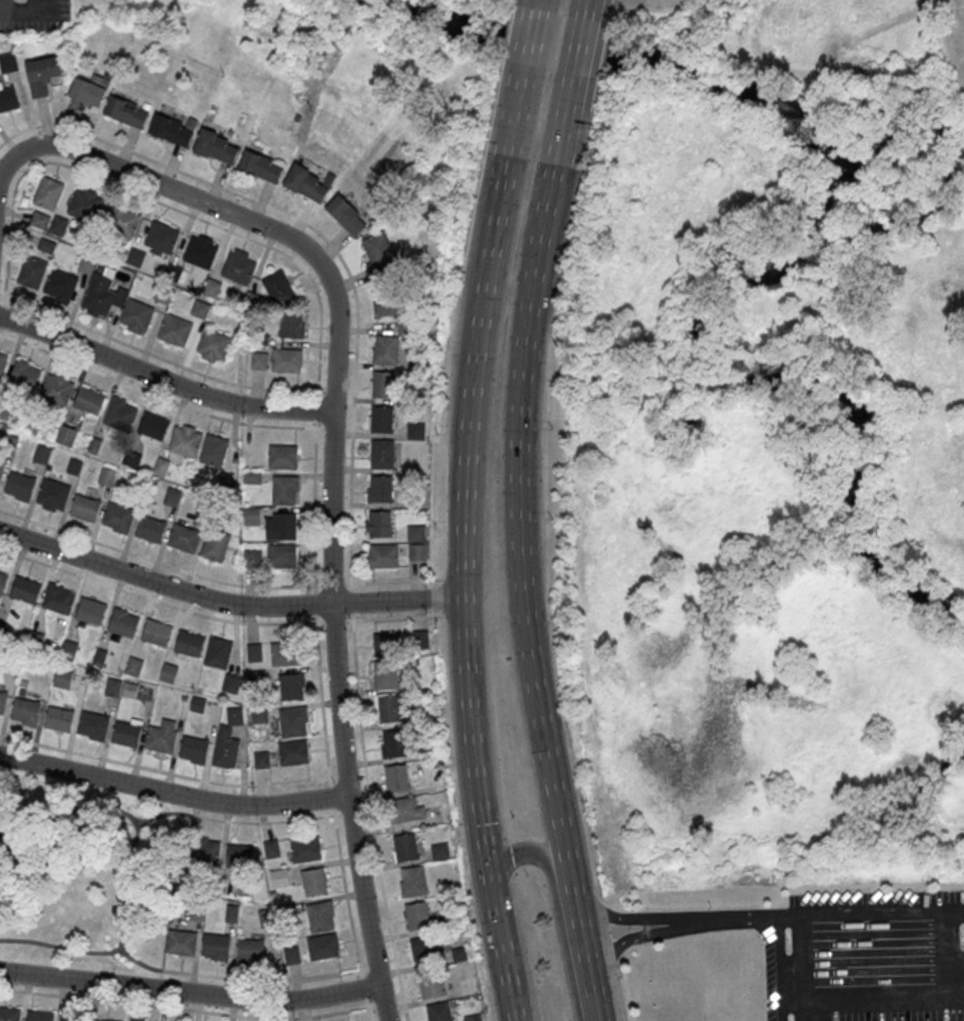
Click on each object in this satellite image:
road: (538, 6)
road: (542, 6)
road: (589, 10)
road: (595, 10)
parking lot: (31, 14)
park: (952, 26)
road: (535, 38)
river: (523, 42)
road: (582, 48)
building: (7, 62)
building: (39, 74)
building: (85, 91)
building: (7, 98)
building: (144, 105)
building: (122, 111)
building: (170, 129)
building: (211, 146)
building: (258, 166)
road: (507, 177)
building: (304, 182)
building: (46, 193)
building: (82, 204)
building: (343, 215)
building: (37, 219)
building: (121, 220)
building: (56, 225)
building: (158, 238)
building: (44, 245)
river: (844, 247)
building: (198, 251)
building: (376, 254)
building: (133, 257)
building: (84, 263)
building: (236, 266)
park: (962, 269)
building: (29, 272)
building: (58, 285)
building: (209, 286)
building: (275, 286)
building: (161, 294)
building: (100, 295)
building: (249, 300)
building: (384, 302)
building: (134, 315)
building: (289, 325)
building: (404, 325)
building: (172, 329)
building: (211, 344)
building: (383, 349)
building: (284, 359)
building: (256, 360)
building: (1, 361)
building: (418, 362)
building: (22, 375)
road: (163, 381)
building: (380, 384)
building: (54, 389)
building: (86, 399)
building: (3, 410)
building: (116, 415)
building: (380, 418)
building: (29, 423)
building: (150, 425)
building: (415, 430)
building: (63, 435)
building: (184, 440)
building: (7, 443)
building: (92, 445)
building: (213, 449)
building: (381, 453)
building: (39, 454)
building: (281, 456)
building: (129, 458)
road: (332, 462)
building: (0, 465)
building: (72, 466)
building: (159, 466)
building: (1, 470)
building: (104, 476)
building: (251, 476)
building: (18, 485)
building: (139, 487)
building: (222, 487)
building: (379, 487)
building: (283, 489)
building: (51, 494)
building: (171, 496)
building: (416, 499)
building: (84, 506)
building: (204, 507)
building: (250, 515)
building: (116, 516)
building: (378, 522)
building: (280, 525)
building: (149, 528)
building: (415, 532)
building: (183, 537)
building: (214, 544)
road: (524, 548)
building: (416, 551)
building: (383, 554)
building: (281, 555)
building: (251, 558)
building: (2, 579)
river: (893, 579)
building: (24, 588)
building: (57, 597)
road: (226, 603)
building: (89, 609)
building: (121, 621)
building: (1, 627)
building: (155, 632)
building: (420, 638)
building: (32, 639)
building: (187, 643)
building: (385, 643)
building: (66, 649)
building: (217, 652)
building: (253, 652)
building: (284, 652)
building: (97, 656)
road: (464, 657)
building: (8, 659)
building: (132, 665)
building: (167, 672)
building: (384, 673)
building: (61, 677)
building: (255, 678)
building: (21, 682)
building: (230, 682)
building: (290, 685)
building: (111, 686)
building: (128, 689)
building: (20, 691)
building: (182, 697)
building: (2, 700)
building: (196, 704)
building: (387, 707)
building: (24, 710)
building: (257, 714)
building: (233, 715)
building: (57, 718)
building: (292, 721)
building: (92, 724)
building: (126, 732)
building: (160, 736)
building: (392, 742)
building: (224, 747)
building: (192, 748)
building: (292, 751)
building: (260, 759)
building: (434, 763)
building: (395, 776)
road: (173, 793)
road: (330, 803)
road: (72, 808)
building: (404, 809)
road: (345, 812)
road: (264, 821)
building: (404, 847)
building: (270, 848)
building: (304, 848)
building: (202, 850)
building: (439, 850)
building: (238, 855)
traffic signals: (486, 866)
park: (84, 872)
building: (181, 877)
building: (277, 877)
building: (412, 880)
building: (313, 881)
road: (121, 882)
building: (244, 888)
building: (198, 889)
road: (344, 892)
building: (271, 893)
building: (190, 897)
building: (282, 909)
road: (558, 909)
building: (196, 910)
building: (230, 913)
building: (416, 914)
building: (318, 915)
road: (808, 915)
building: (263, 917)
building: (451, 919)
road: (651, 923)
building: (179, 941)
road: (58, 945)
building: (214, 945)
building: (321, 946)
building: (425, 946)
building: (249, 949)
road: (521, 951)
building: (458, 953)
building: (290, 954)
road: (870, 957)
road: (371, 966)
road: (777, 968)
road: (263, 980)
building: (430, 982)
road: (361, 983)
building: (466, 986)
road: (190, 992)
building: (438, 1011)
building: (8, 1014)
building: (38, 1015)
building: (472, 1017)
building: (69, 1018)
building: (104, 1020)
building: (135, 1020)

